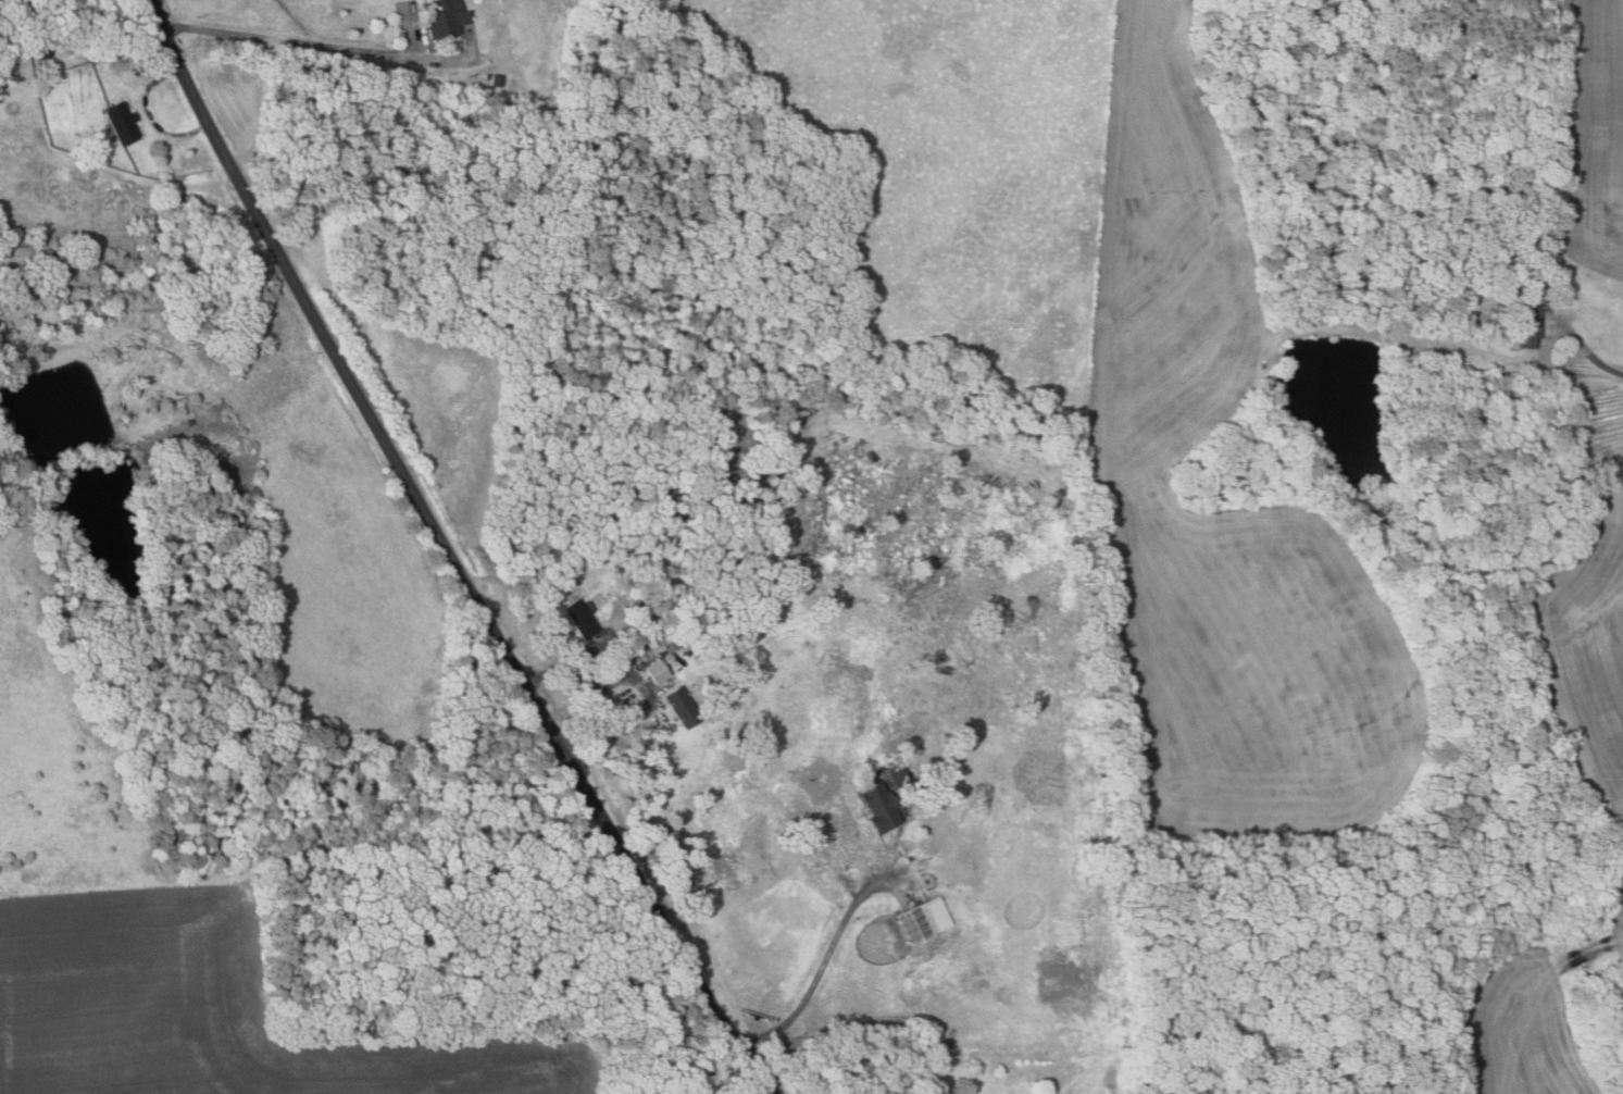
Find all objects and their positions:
building: (441, 18)
road: (308, 43)
building: (45, 54)
building: (486, 76)
building: (495, 80)
road: (150, 113)
building: (124, 123)
crop: (1594, 139)
building: (1525, 283)
building: (4, 315)
building: (1528, 326)
road: (1581, 344)
crop: (1219, 508)
road: (448, 554)
building: (578, 619)
crop: (1588, 629)
building: (638, 643)
building: (671, 645)
road: (565, 663)
building: (654, 671)
building: (679, 707)
road: (608, 726)
building: (899, 780)
building: (982, 800)
building: (878, 807)
building: (775, 838)
building: (947, 840)
building: (909, 858)
crop: (1618, 921)
building: (914, 922)
building: (912, 950)
road: (820, 962)
crop: (211, 1010)
crop: (1520, 1028)
building: (935, 1058)
road: (719, 1077)
building: (939, 1080)
crop: (1114, 1080)

